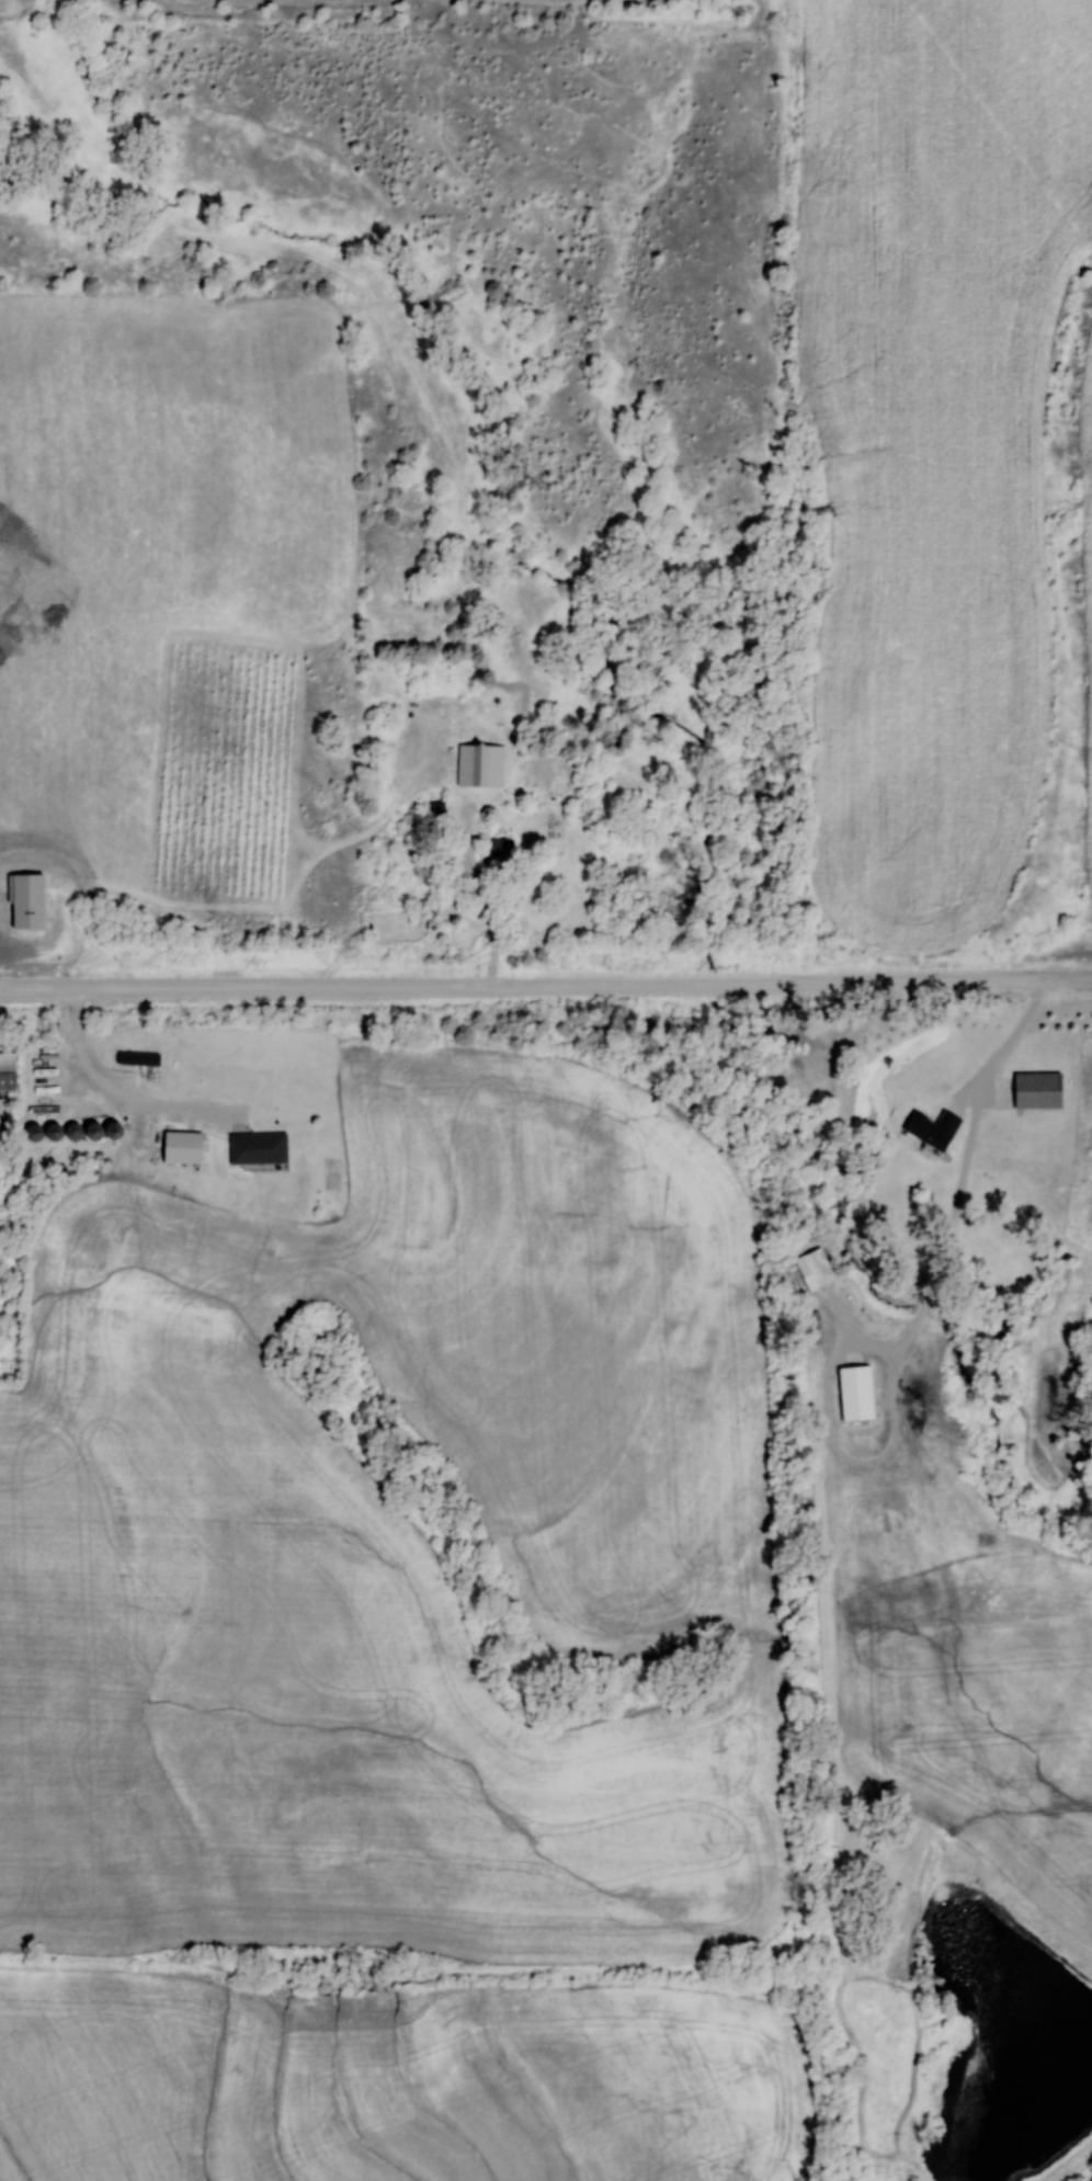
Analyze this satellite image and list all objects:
building: (479, 764)
building: (497, 851)
road: (545, 986)
building: (848, 1023)
building: (5, 1071)
building: (1034, 1090)
building: (930, 1128)
building: (179, 1147)
building: (255, 1148)
building: (812, 1268)
building: (810, 1327)
building: (853, 1390)

